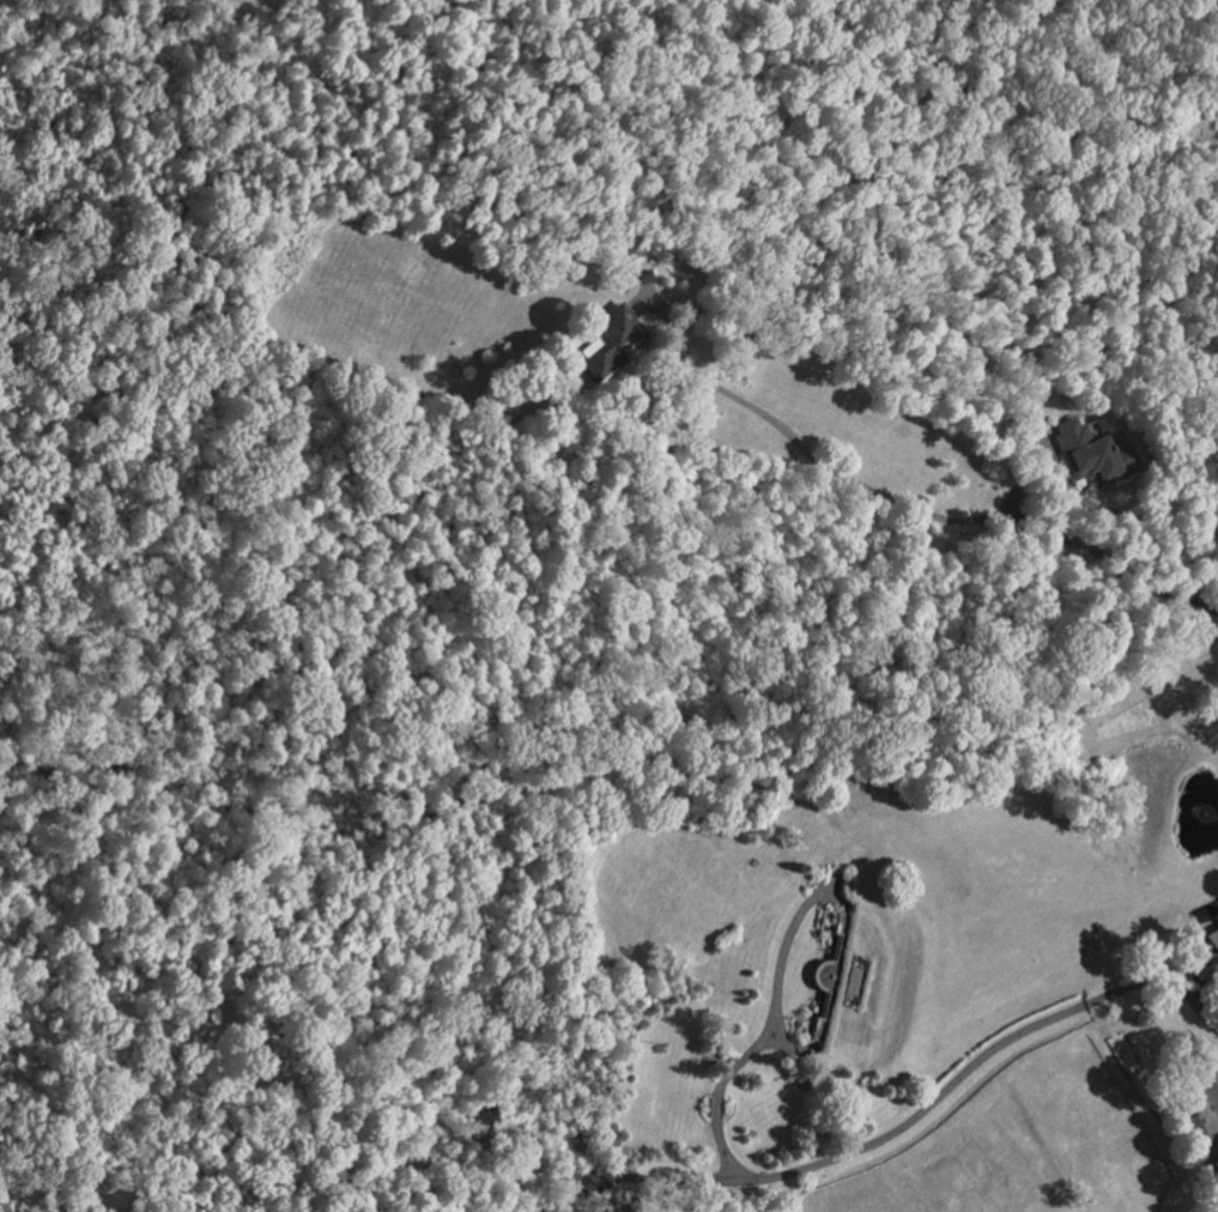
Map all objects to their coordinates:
building: (612, 340)
building: (1092, 454)
road: (898, 502)
road: (1119, 515)
building: (1213, 947)
road: (1193, 1000)
road: (766, 1032)
building: (1206, 1126)
road: (853, 1149)

